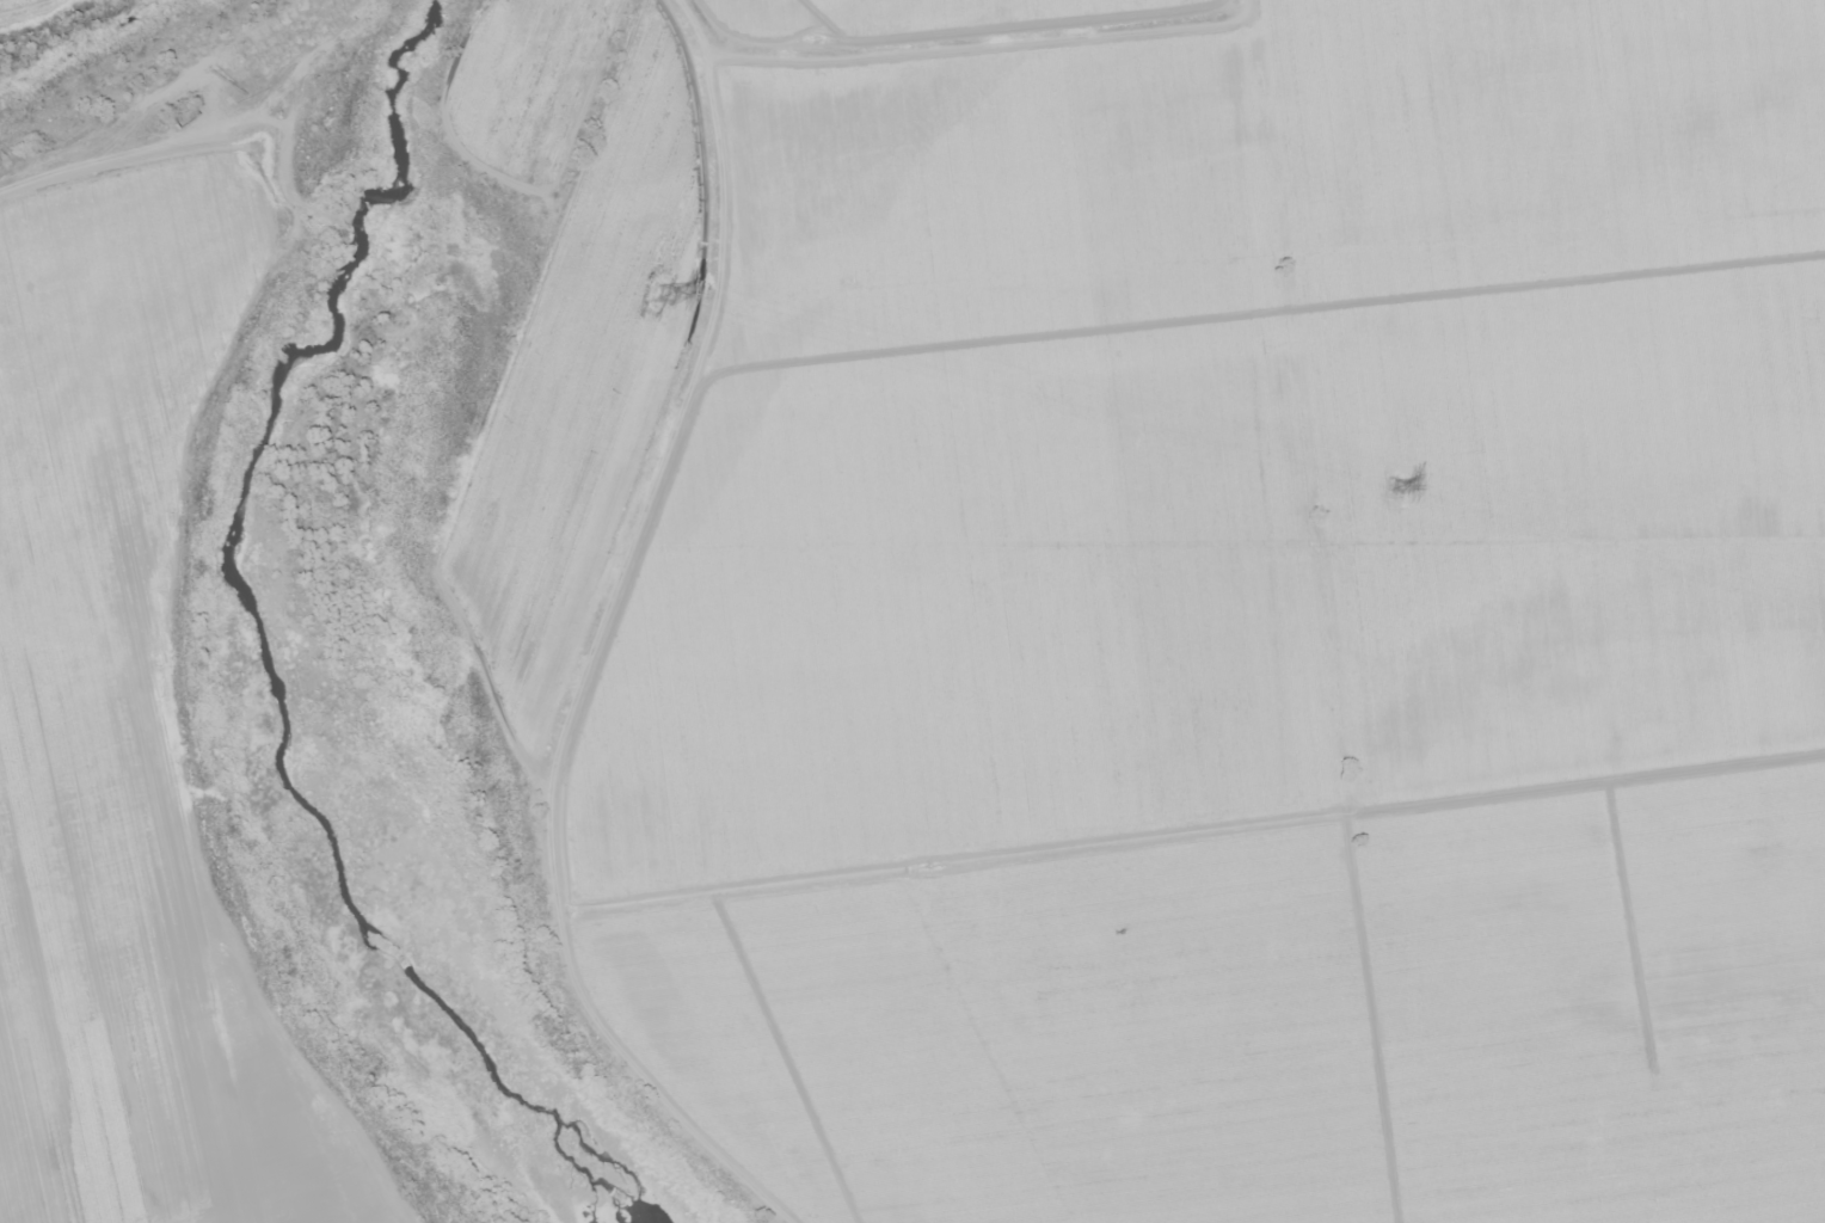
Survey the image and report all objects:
power tower: (666, 293)
power tower: (1390, 486)

